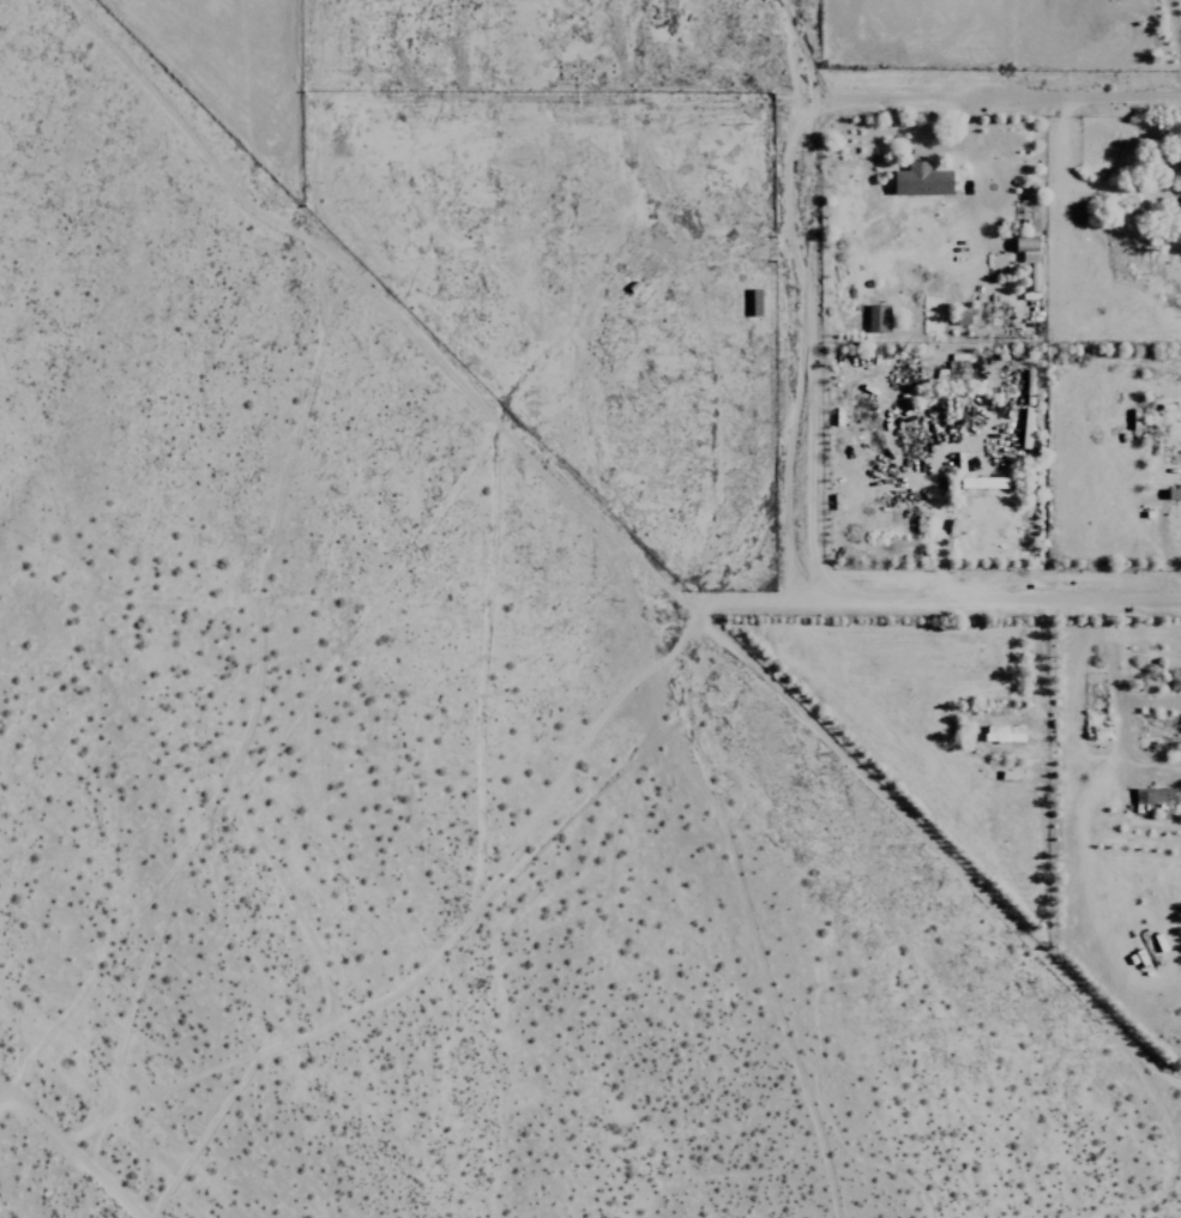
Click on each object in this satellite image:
road: (1171, 31)
road: (912, 89)
road: (799, 297)
building: (757, 303)
building: (880, 319)
building: (1022, 428)
building: (977, 482)
road: (990, 596)
building: (999, 734)
building: (1158, 798)
road: (78, 1141)

